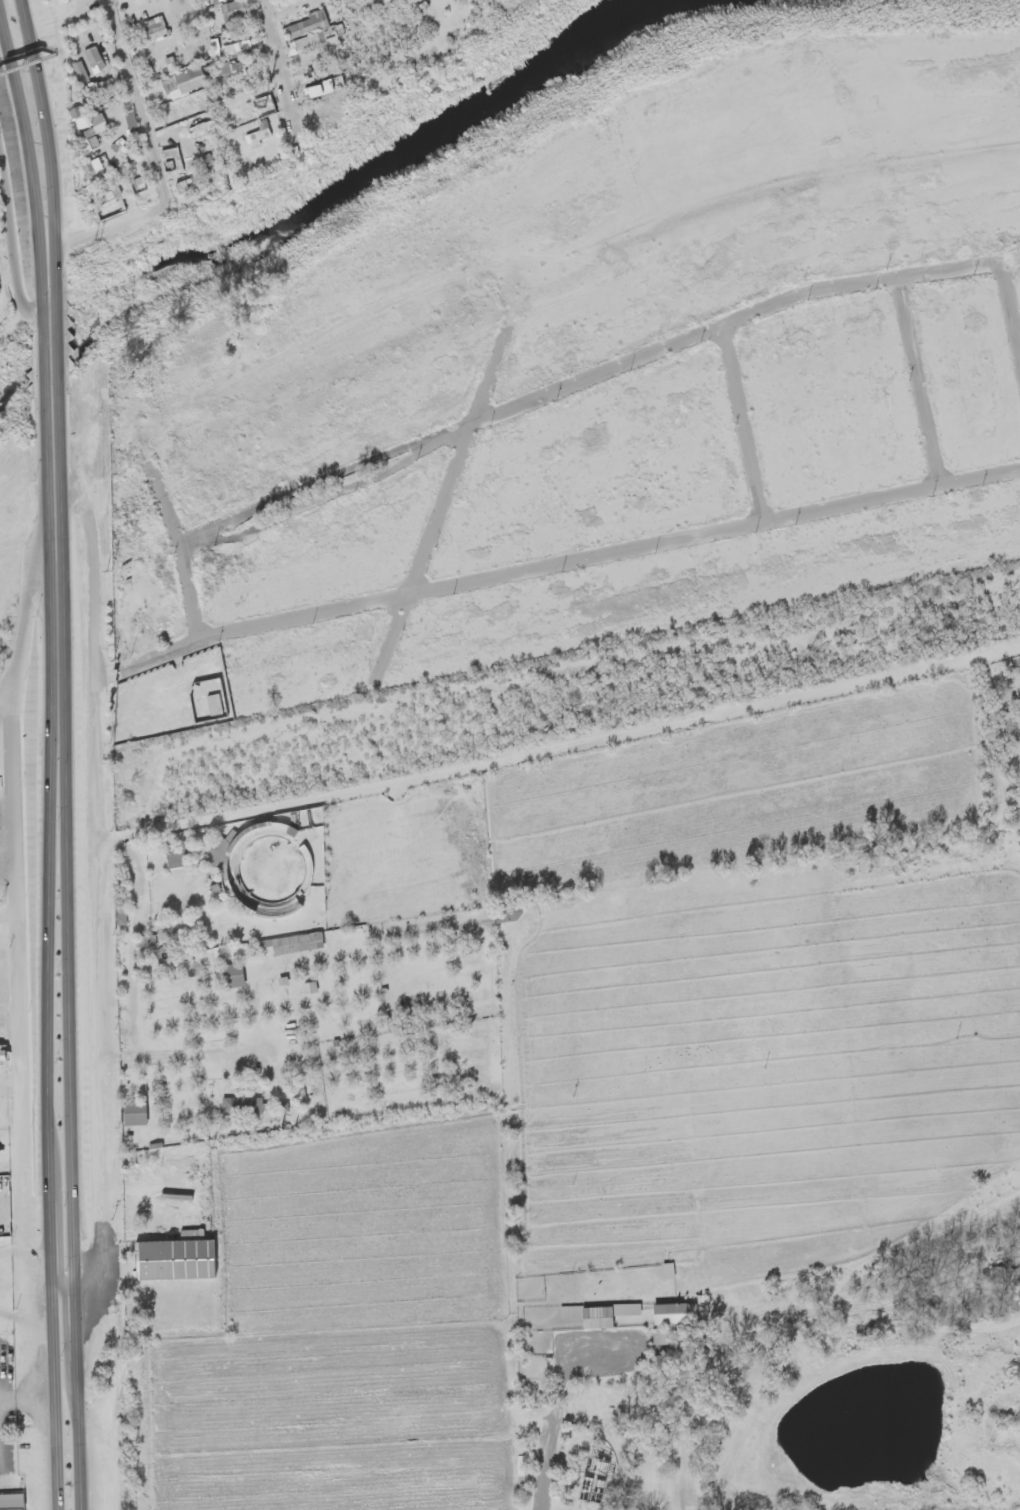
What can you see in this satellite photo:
river: (325, 199)

